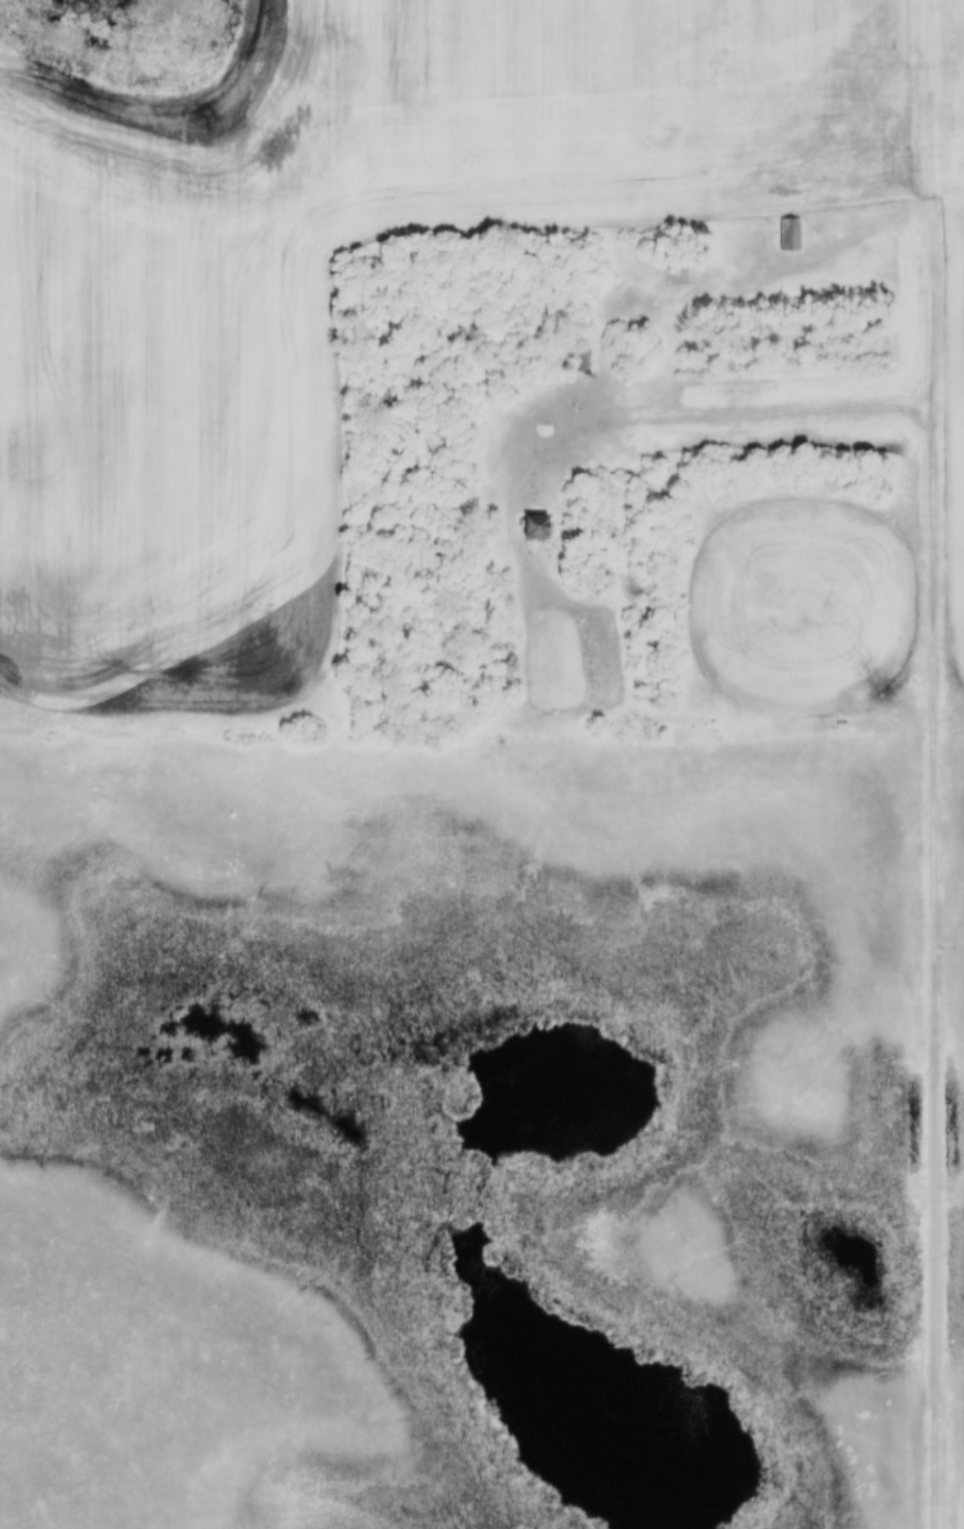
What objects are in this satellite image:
road: (936, 216)
building: (787, 235)
building: (584, 361)
road: (604, 421)
building: (527, 527)
road: (468, 745)
road: (937, 980)

